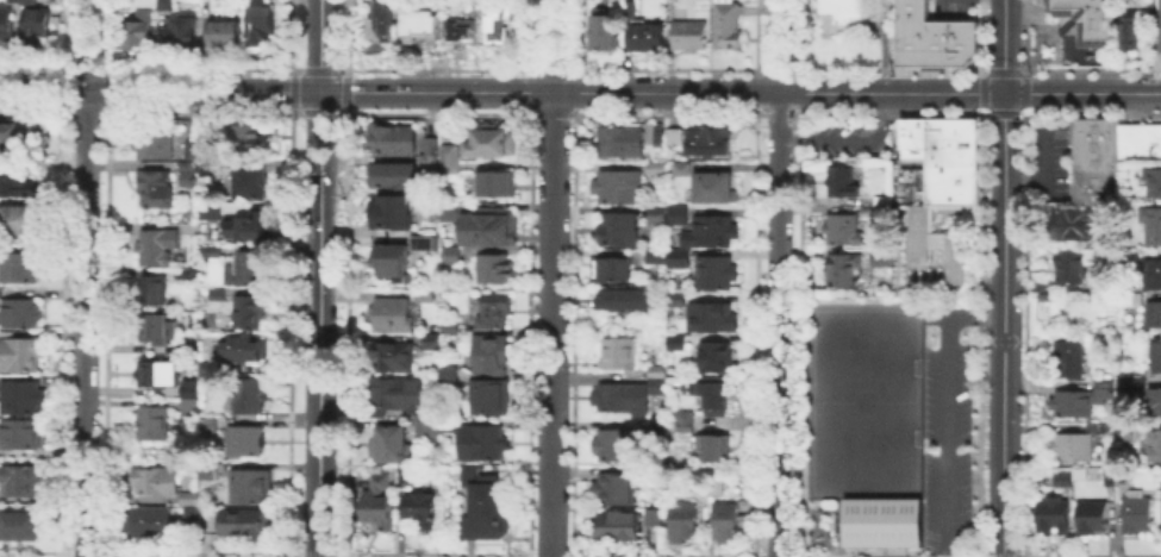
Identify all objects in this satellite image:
building: (27, 2)
building: (166, 5)
building: (630, 11)
building: (838, 15)
building: (1142, 15)
building: (382, 23)
building: (1093, 23)
building: (261, 24)
building: (420, 24)
building: (1156, 25)
building: (4, 26)
building: (37, 26)
building: (726, 26)
building: (499, 29)
building: (934, 32)
building: (607, 33)
building: (135, 35)
building: (180, 35)
building: (462, 35)
building: (224, 37)
building: (647, 37)
building: (691, 38)
road: (319, 45)
road: (1004, 46)
traffic signals: (319, 92)
road: (501, 92)
road: (1082, 93)
traffic signals: (1004, 94)
parking lot: (848, 136)
building: (21, 137)
road: (850, 138)
building: (705, 139)
building: (393, 140)
building: (492, 140)
building: (245, 144)
building: (622, 144)
building: (155, 145)
building: (426, 151)
building: (191, 152)
building: (942, 155)
building: (1104, 157)
building: (450, 159)
building: (208, 165)
building: (188, 168)
building: (654, 168)
building: (681, 170)
building: (393, 176)
building: (838, 180)
building: (248, 183)
building: (1153, 183)
building: (498, 184)
building: (15, 187)
building: (619, 188)
building: (154, 189)
building: (714, 190)
building: (879, 198)
building: (878, 207)
building: (445, 212)
building: (393, 214)
building: (657, 217)
building: (679, 217)
building: (21, 219)
building: (235, 224)
building: (485, 224)
building: (1078, 225)
building: (1150, 225)
building: (838, 227)
building: (619, 232)
building: (711, 233)
building: (931, 240)
building: (154, 251)
building: (213, 252)
building: (879, 255)
building: (678, 257)
building: (452, 258)
building: (651, 259)
building: (400, 261)
building: (839, 267)
building: (611, 268)
building: (23, 269)
building: (494, 269)
building: (1067, 269)
building: (251, 270)
building: (714, 274)
building: (1150, 275)
road: (776, 277)
road: (85, 278)
road: (551, 278)
building: (155, 292)
building: (217, 295)
building: (619, 296)
building: (424, 299)
building: (676, 299)
building: (656, 305)
building: (494, 312)
building: (24, 314)
building: (249, 315)
building: (1154, 315)
building: (387, 319)
building: (712, 321)
road: (318, 324)
road: (1003, 325)
building: (156, 327)
building: (430, 343)
building: (676, 344)
building: (243, 351)
building: (620, 352)
building: (492, 355)
building: (21, 357)
building: (1156, 357)
building: (393, 359)
building: (716, 359)
building: (1068, 359)
building: (157, 375)
building: (449, 377)
building: (1128, 382)
building: (660, 384)
building: (1137, 387)
building: (1101, 393)
building: (395, 394)
building: (249, 398)
building: (622, 398)
building: (21, 399)
building: (491, 399)
building: (714, 400)
park: (860, 400)
building: (1156, 403)
road: (944, 406)
building: (1072, 406)
building: (189, 408)
building: (684, 421)
building: (445, 424)
building: (149, 426)
parking lot: (945, 426)
building: (207, 428)
building: (429, 431)
building: (658, 432)
building: (20, 436)
building: (388, 443)
building: (480, 443)
building: (245, 444)
building: (617, 446)
building: (1073, 448)
building: (1151, 448)
building: (713, 450)
building: (208, 472)
building: (1079, 475)
building: (405, 477)
building: (1112, 478)
building: (1062, 481)
building: (24, 482)
building: (154, 482)
building: (379, 483)
building: (714, 484)
building: (250, 488)
building: (614, 490)
building: (188, 500)
building: (485, 506)
building: (377, 509)
building: (423, 513)
building: (1136, 514)
building: (1053, 517)
building: (188, 518)
building: (655, 519)
building: (1160, 519)
building: (1092, 520)
building: (729, 521)
building: (879, 521)
building: (149, 524)
building: (244, 524)
building: (685, 524)
building: (19, 526)
building: (619, 527)

